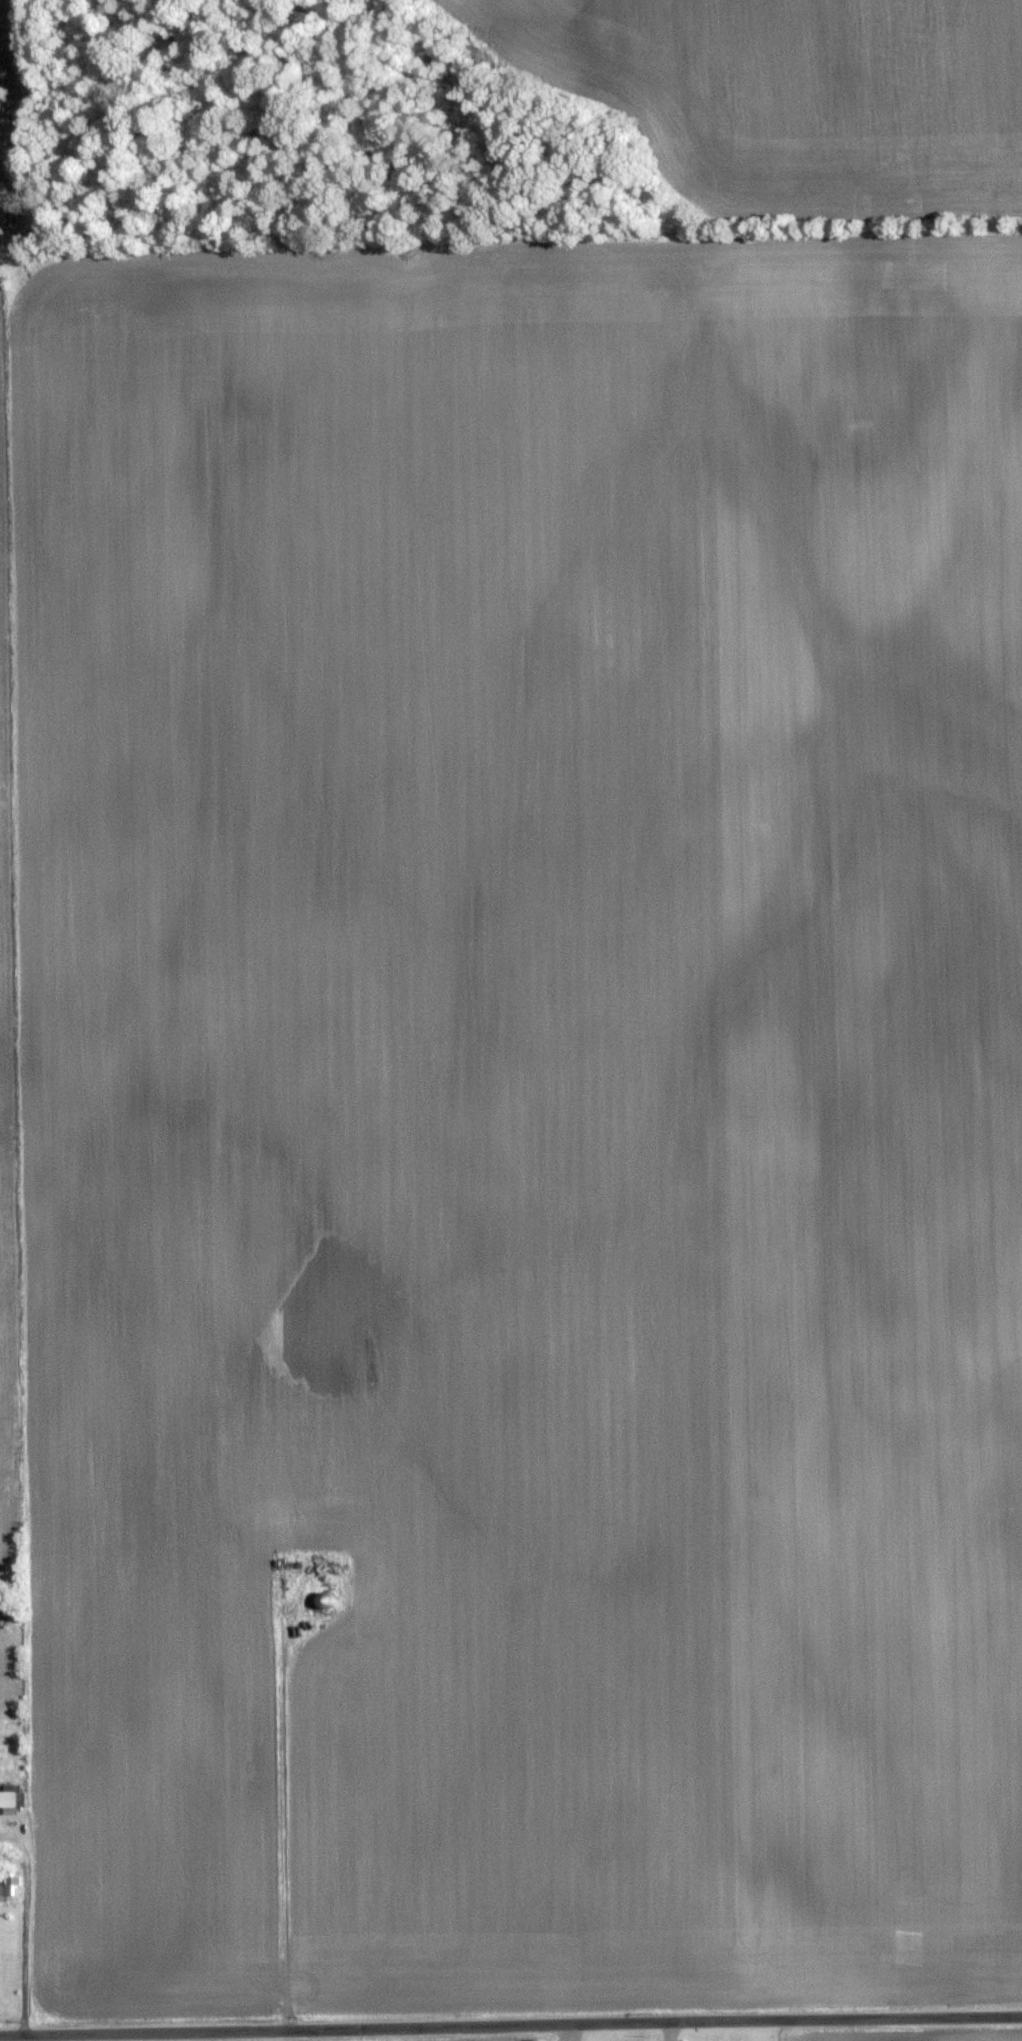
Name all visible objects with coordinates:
building: (329, 1600)
building: (11, 1796)
road: (284, 1835)
building: (6, 1884)
road: (27, 1931)
road: (511, 2026)

